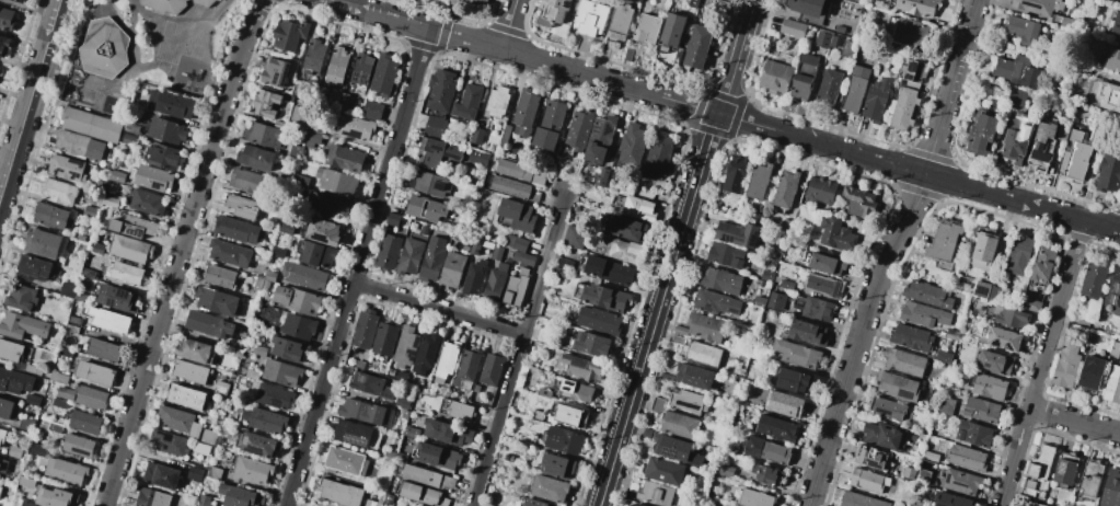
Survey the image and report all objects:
building: (217, 0)
building: (483, 0)
building: (18, 1)
building: (203, 2)
building: (693, 3)
rooftop solar panel: (1031, 4)
building: (164, 5)
building: (807, 7)
building: (917, 7)
building: (1037, 8)
building: (553, 12)
building: (590, 18)
building: (7, 19)
building: (620, 22)
building: (1069, 23)
road: (507, 24)
building: (1117, 24)
building: (793, 28)
building: (647, 30)
building: (908, 32)
building: (1021, 32)
building: (290, 35)
building: (822, 39)
building: (671, 41)
building: (834, 43)
building: (3, 44)
building: (697, 46)
building: (104, 48)
building: (848, 49)
building: (627, 54)
building: (315, 56)
road: (736, 57)
building: (1112, 60)
rooftop solar panel: (912, 65)
building: (337, 66)
building: (0, 67)
building: (361, 69)
building: (275, 71)
building: (913, 71)
building: (1017, 71)
building: (384, 73)
building: (804, 76)
building: (775, 77)
rooftop solar panel: (909, 77)
rooftop solar panel: (286, 78)
rooftop solar panel: (277, 80)
building: (297, 88)
building: (829, 88)
building: (441, 90)
building: (856, 90)
road: (28, 96)
building: (1018, 96)
building: (1109, 96)
building: (289, 99)
building: (877, 99)
building: (343, 101)
building: (266, 103)
building: (467, 103)
building: (497, 103)
building: (173, 105)
building: (903, 108)
building: (372, 111)
building: (526, 113)
road: (725, 116)
building: (300, 117)
building: (280, 124)
building: (91, 125)
building: (550, 125)
building: (355, 127)
building: (435, 127)
building: (316, 128)
building: (131, 129)
building: (579, 129)
rooftop solar panel: (594, 130)
rooftop solar panel: (608, 130)
building: (166, 131)
building: (1062, 131)
building: (263, 135)
building: (982, 135)
building: (477, 136)
building: (505, 136)
building: (313, 139)
building: (600, 139)
building: (1017, 139)
building: (129, 140)
building: (632, 145)
building: (79, 146)
building: (1042, 147)
building: (296, 151)
building: (436, 153)
building: (658, 156)
building: (164, 157)
building: (256, 158)
building: (478, 158)
building: (345, 159)
building: (1075, 159)
building: (67, 169)
building: (521, 172)
building: (1109, 173)
building: (736, 174)
building: (117, 176)
building: (460, 176)
building: (602, 177)
building: (153, 179)
building: (245, 181)
building: (758, 181)
building: (336, 182)
building: (431, 184)
rooftop solar panel: (155, 185)
building: (100, 186)
building: (111, 188)
building: (515, 188)
building: (786, 188)
building: (821, 189)
building: (59, 192)
building: (859, 200)
building: (111, 203)
building: (148, 203)
road: (564, 203)
building: (333, 206)
building: (242, 207)
building: (636, 208)
building: (429, 209)
building: (91, 212)
building: (53, 216)
building: (518, 216)
building: (393, 219)
building: (142, 225)
building: (126, 229)
building: (287, 229)
building: (630, 229)
building: (236, 230)
building: (323, 232)
rooftop solar panel: (137, 233)
building: (737, 233)
building: (836, 233)
building: (575, 237)
building: (81, 238)
rooftop solar panel: (726, 239)
rooftop solar panel: (754, 239)
building: (944, 242)
building: (43, 243)
building: (516, 243)
building: (96, 248)
building: (475, 248)
building: (130, 249)
building: (984, 249)
building: (624, 250)
road: (178, 251)
road: (889, 251)
building: (229, 252)
building: (388, 252)
building: (279, 253)
building: (312, 253)
building: (497, 253)
building: (727, 255)
building: (1019, 256)
building: (328, 257)
building: (411, 257)
building: (522, 257)
building: (432, 260)
building: (76, 263)
building: (824, 263)
building: (566, 264)
road: (357, 267)
building: (33, 268)
building: (452, 269)
building: (1042, 269)
building: (252, 271)
building: (609, 271)
building: (123, 272)
building: (558, 273)
building: (89, 274)
building: (219, 276)
building: (269, 276)
building: (303, 276)
building: (766, 276)
building: (472, 277)
building: (586, 279)
building: (720, 280)
building: (1094, 280)
building: (494, 281)
building: (963, 283)
building: (257, 285)
building: (265, 285)
building: (787, 285)
building: (824, 286)
building: (515, 288)
building: (67, 289)
rooftop solar panel: (1117, 289)
building: (981, 290)
building: (928, 295)
building: (996, 295)
building: (1032, 295)
rooftop solar panel: (123, 296)
building: (1113, 297)
building: (22, 298)
building: (81, 298)
building: (116, 298)
building: (605, 298)
building: (297, 300)
building: (217, 301)
building: (759, 301)
building: (775, 301)
rooftop solar panel: (1115, 302)
building: (716, 303)
rooftop solar panel: (111, 304)
building: (1031, 304)
road: (438, 309)
road: (656, 309)
rooftop solar panel: (706, 309)
building: (818, 309)
rooftop solar panel: (731, 311)
building: (924, 314)
road: (1055, 314)
building: (1011, 319)
building: (109, 320)
building: (74, 321)
building: (573, 321)
building: (602, 321)
building: (958, 321)
building: (204, 323)
building: (22, 326)
building: (299, 326)
building: (706, 326)
building: (362, 327)
building: (72, 330)
building: (680, 330)
building: (570, 331)
building: (809, 333)
building: (951, 334)
building: (383, 338)
building: (913, 338)
building: (1092, 338)
building: (1005, 340)
rooftop solar panel: (416, 341)
building: (234, 343)
building: (591, 344)
building: (404, 345)
building: (289, 349)
building: (11, 350)
building: (103, 350)
building: (194, 350)
building: (259, 350)
building: (1116, 350)
building: (696, 352)
building: (26, 353)
building: (65, 353)
building: (424, 353)
building: (236, 354)
rooftop solar panel: (411, 354)
building: (798, 355)
building: (944, 356)
building: (444, 360)
road: (516, 360)
building: (903, 363)
building: (994, 363)
building: (349, 364)
building: (1067, 364)
building: (359, 365)
building: (490, 367)
building: (465, 368)
building: (581, 368)
building: (28, 369)
building: (390, 371)
building: (95, 372)
building: (190, 372)
building: (282, 372)
building: (1092, 373)
building: (252, 375)
building: (401, 376)
building: (694, 376)
building: (58, 377)
rooftop solar panel: (359, 378)
building: (793, 380)
building: (16, 386)
building: (370, 386)
building: (1113, 386)
building: (897, 387)
building: (990, 387)
building: (221, 388)
building: (255, 388)
building: (475, 388)
building: (573, 390)
building: (544, 392)
building: (84, 396)
building: (188, 396)
building: (275, 396)
building: (688, 402)
building: (402, 403)
building: (785, 404)
building: (658, 405)
rooftop solar panel: (686, 405)
building: (946, 406)
building: (888, 409)
building: (9, 410)
building: (461, 411)
rooftop solar panel: (884, 411)
building: (981, 411)
building: (363, 412)
building: (539, 415)
building: (571, 416)
building: (175, 419)
building: (82, 421)
building: (264, 421)
road: (1074, 422)
building: (26, 425)
building: (679, 425)
building: (776, 428)
building: (194, 430)
building: (51, 432)
building: (412, 433)
building: (447, 433)
building: (647, 433)
building: (974, 434)
building: (357, 435)
building: (880, 435)
building: (2, 437)
building: (208, 437)
building: (564, 440)
rooftop solar panel: (356, 441)
building: (170, 444)
building: (707, 444)
building: (261, 445)
building: (79, 446)
building: (672, 447)
building: (37, 449)
rooftop solar panel: (81, 450)
building: (731, 450)
building: (766, 451)
building: (14, 452)
rooftop solar panel: (668, 453)
building: (390, 455)
building: (438, 457)
building: (871, 457)
building: (931, 457)
road: (1014, 457)
building: (966, 458)
building: (695, 459)
building: (346, 461)
building: (386, 461)
building: (1041, 462)
building: (3, 465)
rooftop solar panel: (874, 465)
building: (558, 467)
building: (252, 470)
building: (726, 470)
rooftop solar panel: (1064, 470)
building: (1065, 470)
building: (66, 471)
building: (665, 471)
building: (909, 472)
building: (215, 473)
building: (195, 474)
building: (763, 474)
building: (161, 476)
building: (426, 476)
building: (923, 476)
building: (1092, 479)
building: (867, 480)
building: (26, 482)
building: (886, 482)
building: (961, 482)
rooftop solar panel: (160, 484)
rooftop solar panel: (170, 487)
building: (0, 488)
building: (550, 488)
building: (1029, 490)
building: (1111, 490)
building: (339, 493)
building: (420, 494)
building: (653, 494)
building: (240, 496)
building: (152, 497)
building: (54, 498)
building: (388, 498)
building: (754, 498)
building: (950, 499)
building: (205, 501)
building: (861, 501)
building: (371, 503)
building: (535, 503)
building: (914, 503)
building: (26, 504)
building: (1032, 504)
building: (637, 505)

